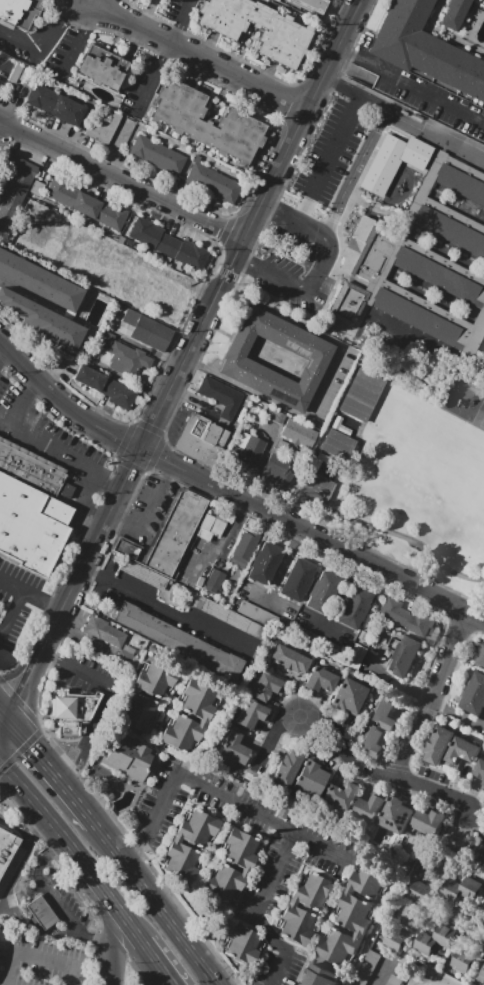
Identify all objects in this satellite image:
road: (87, 0)
building: (480, 1)
building: (312, 5)
parking lot: (184, 11)
building: (19, 13)
building: (449, 15)
road: (45, 30)
building: (286, 37)
road: (79, 39)
parking lot: (20, 47)
building: (421, 50)
parking lot: (66, 55)
road: (199, 55)
road: (164, 56)
building: (101, 68)
building: (15, 72)
road: (355, 72)
building: (25, 75)
parking lot: (144, 85)
road: (411, 86)
building: (55, 104)
road: (305, 121)
road: (378, 122)
building: (206, 123)
road: (347, 123)
building: (102, 129)
parking lot: (333, 142)
building: (158, 156)
building: (392, 162)
building: (211, 182)
road: (122, 183)
building: (12, 188)
building: (84, 205)
flagpole: (344, 213)
building: (167, 243)
building: (415, 250)
parking lot: (293, 262)
road: (322, 270)
road: (222, 277)
road: (30, 296)
building: (60, 296)
building: (147, 331)
road: (192, 339)
road: (2, 352)
building: (123, 354)
road: (391, 362)
building: (238, 366)
road: (321, 380)
road: (32, 385)
road: (44, 386)
building: (106, 387)
building: (360, 392)
building: (219, 398)
road: (160, 408)
road: (20, 411)
park: (482, 422)
parking lot: (180, 426)
building: (297, 434)
road: (116, 438)
building: (201, 441)
parking lot: (53, 444)
building: (337, 446)
building: (250, 452)
road: (61, 457)
road: (161, 462)
building: (275, 469)
park: (419, 479)
building: (314, 483)
parking lot: (148, 509)
building: (33, 510)
road: (127, 525)
building: (209, 526)
road: (393, 533)
building: (176, 534)
building: (245, 545)
road: (333, 547)
building: (126, 548)
road: (224, 556)
road: (90, 557)
building: (266, 564)
road: (281, 569)
building: (143, 574)
building: (216, 579)
building: (298, 579)
road: (12, 585)
building: (324, 593)
road: (43, 600)
parking lot: (15, 603)
parking lot: (8, 604)
building: (352, 608)
road: (166, 615)
road: (12, 616)
building: (404, 617)
building: (233, 619)
building: (103, 631)
building: (179, 640)
road: (48, 656)
building: (355, 656)
building: (402, 657)
building: (480, 657)
building: (291, 660)
road: (82, 674)
building: (321, 679)
building: (159, 681)
building: (266, 687)
road: (22, 692)
building: (351, 696)
building: (473, 696)
road: (433, 697)
traffic signals: (20, 698)
building: (202, 701)
building: (75, 709)
building: (251, 714)
building: (143, 715)
building: (386, 715)
road: (4, 718)
road: (328, 724)
road: (4, 725)
building: (186, 735)
road: (86, 738)
building: (374, 743)
building: (441, 745)
traffic signals: (30, 747)
building: (235, 749)
building: (463, 752)
building: (130, 758)
building: (290, 768)
building: (482, 769)
road: (52, 774)
park: (105, 775)
building: (310, 778)
building: (483, 784)
road: (436, 791)
building: (339, 795)
building: (367, 807)
road: (156, 811)
building: (283, 814)
building: (395, 815)
road: (262, 816)
building: (428, 821)
road: (12, 826)
road: (36, 827)
building: (198, 829)
parking lot: (314, 842)
building: (7, 849)
road: (74, 850)
building: (241, 851)
road: (131, 857)
building: (483, 861)
building: (182, 864)
building: (432, 866)
road: (15, 867)
building: (373, 882)
building: (224, 884)
building: (470, 888)
building: (451, 889)
building: (420, 891)
building: (314, 893)
road: (52, 898)
road: (156, 906)
building: (483, 907)
road: (258, 911)
building: (357, 912)
building: (43, 914)
building: (408, 915)
road: (110, 916)
fountain: (327, 921)
building: (297, 927)
building: (1, 931)
building: (443, 933)
building: (394, 938)
building: (427, 943)
road: (118, 944)
building: (243, 945)
building: (340, 947)
building: (483, 949)
road: (42, 958)
building: (461, 960)
road: (157, 963)
road: (109, 965)
road: (11, 968)
building: (365, 968)
parking lot: (379, 968)
road: (136, 970)
road: (381, 971)
park: (133, 973)
building: (481, 974)
road: (64, 975)
building: (319, 976)
road: (431, 976)
building: (392, 980)

